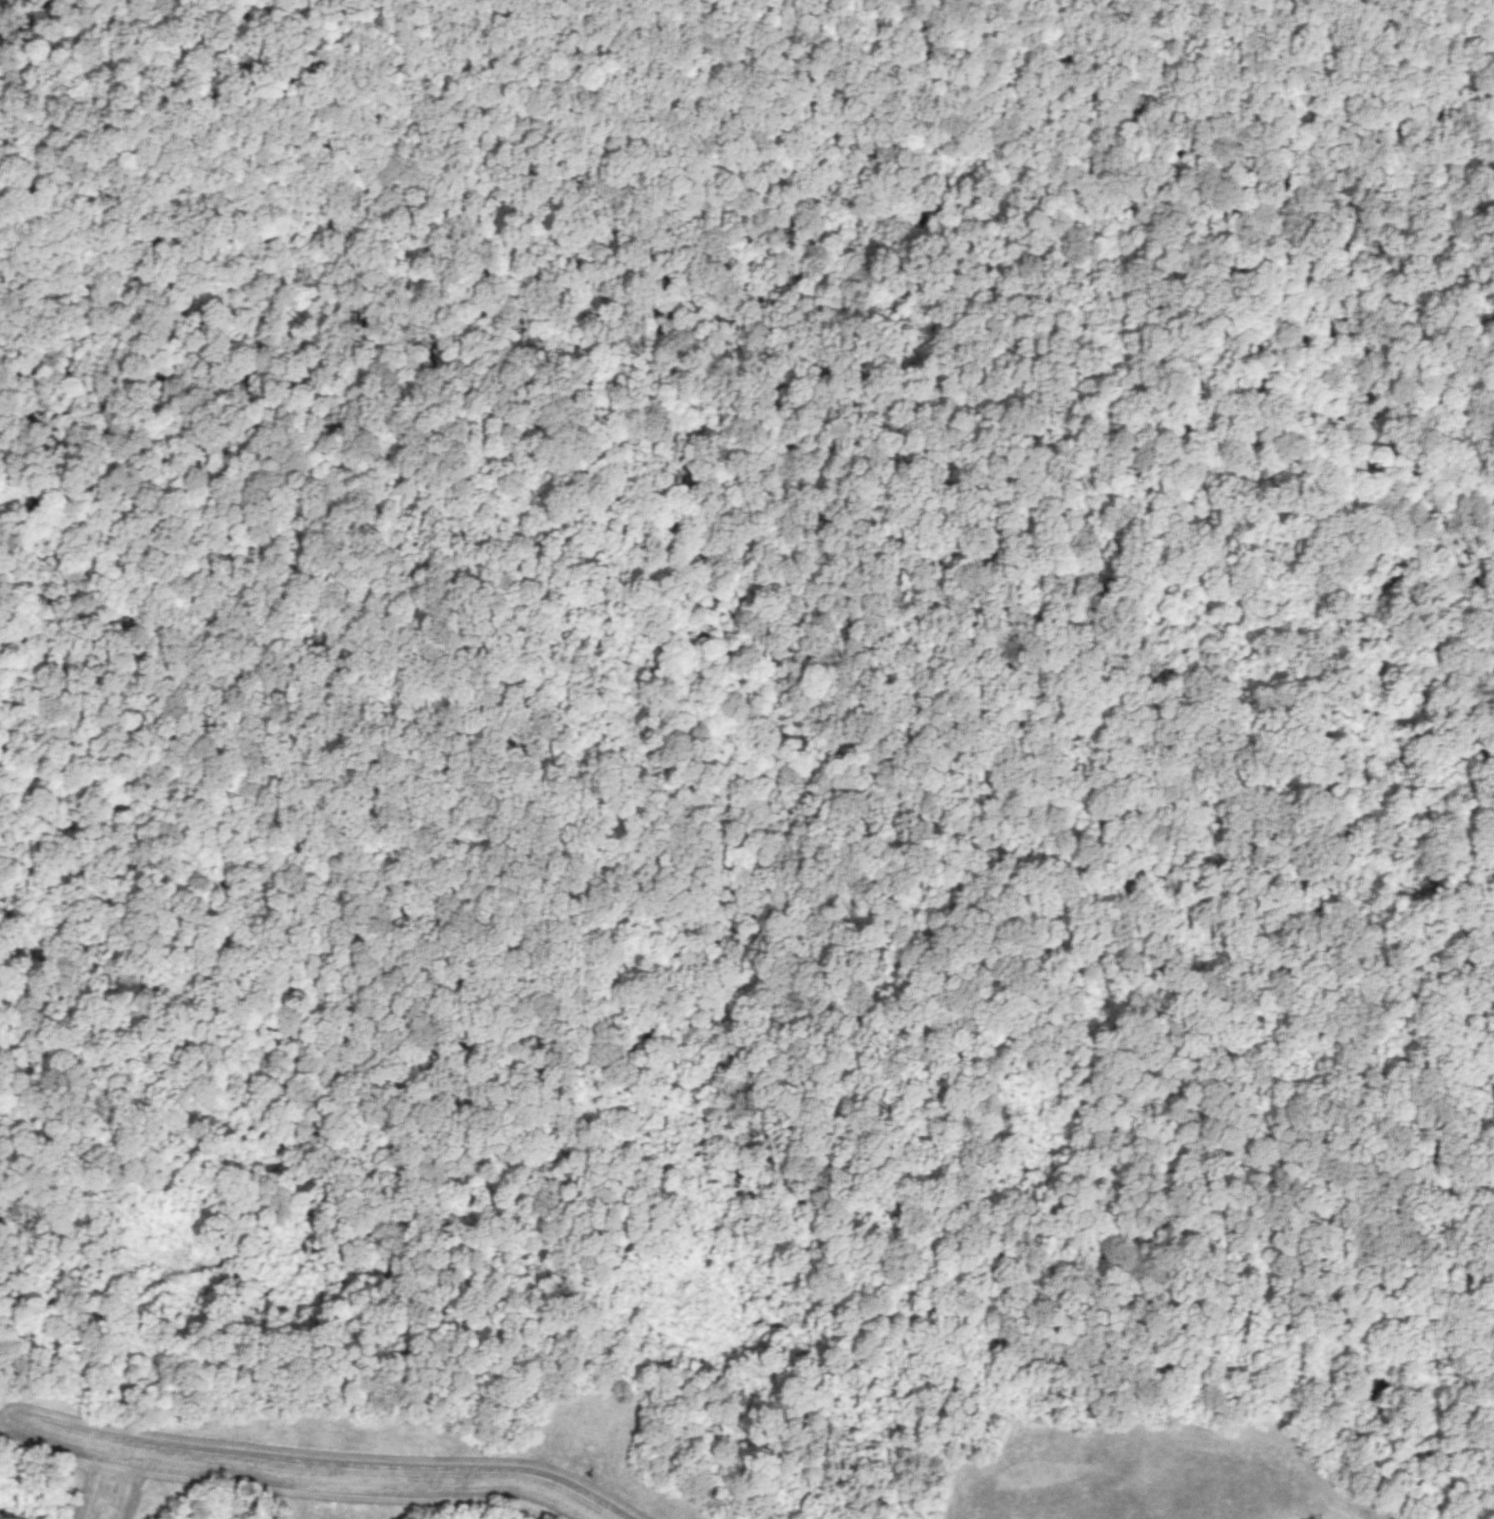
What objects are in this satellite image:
road: (2, 3)
road: (478, 667)
road: (1129, 746)
road: (887, 1045)
road: (457, 1309)

